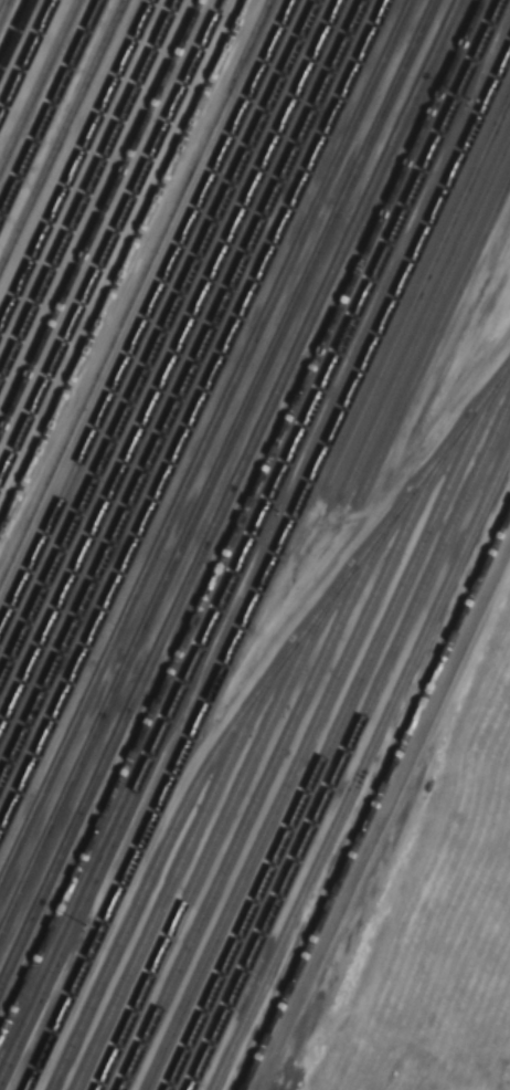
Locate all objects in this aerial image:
railway: (6, 12)
railway: (14, 32)
railway: (25, 55)
railway: (36, 78)
railway: (47, 103)
railway: (60, 130)
railway: (74, 159)
railway: (86, 186)
railway: (97, 212)
railway: (108, 235)
railway: (121, 264)
railway: (131, 286)
railway: (417, 290)
railway: (145, 314)
railway: (425, 314)
railway: (433, 336)
railway: (157, 339)
railway: (170, 366)
railway: (181, 390)
railway: (193, 417)
railway: (204, 441)
railway: (216, 467)
railway: (227, 489)
railway: (240, 515)
railway: (252, 537)
railway: (267, 567)
building: (117, 597)
railway: (247, 705)
building: (81, 708)
railway: (334, 726)
railway: (349, 742)
railway: (301, 747)
railway: (360, 766)
railway: (259, 787)
railway: (374, 798)
road: (381, 811)
railway: (221, 824)
building: (25, 827)
railway: (179, 862)
building: (0, 927)

